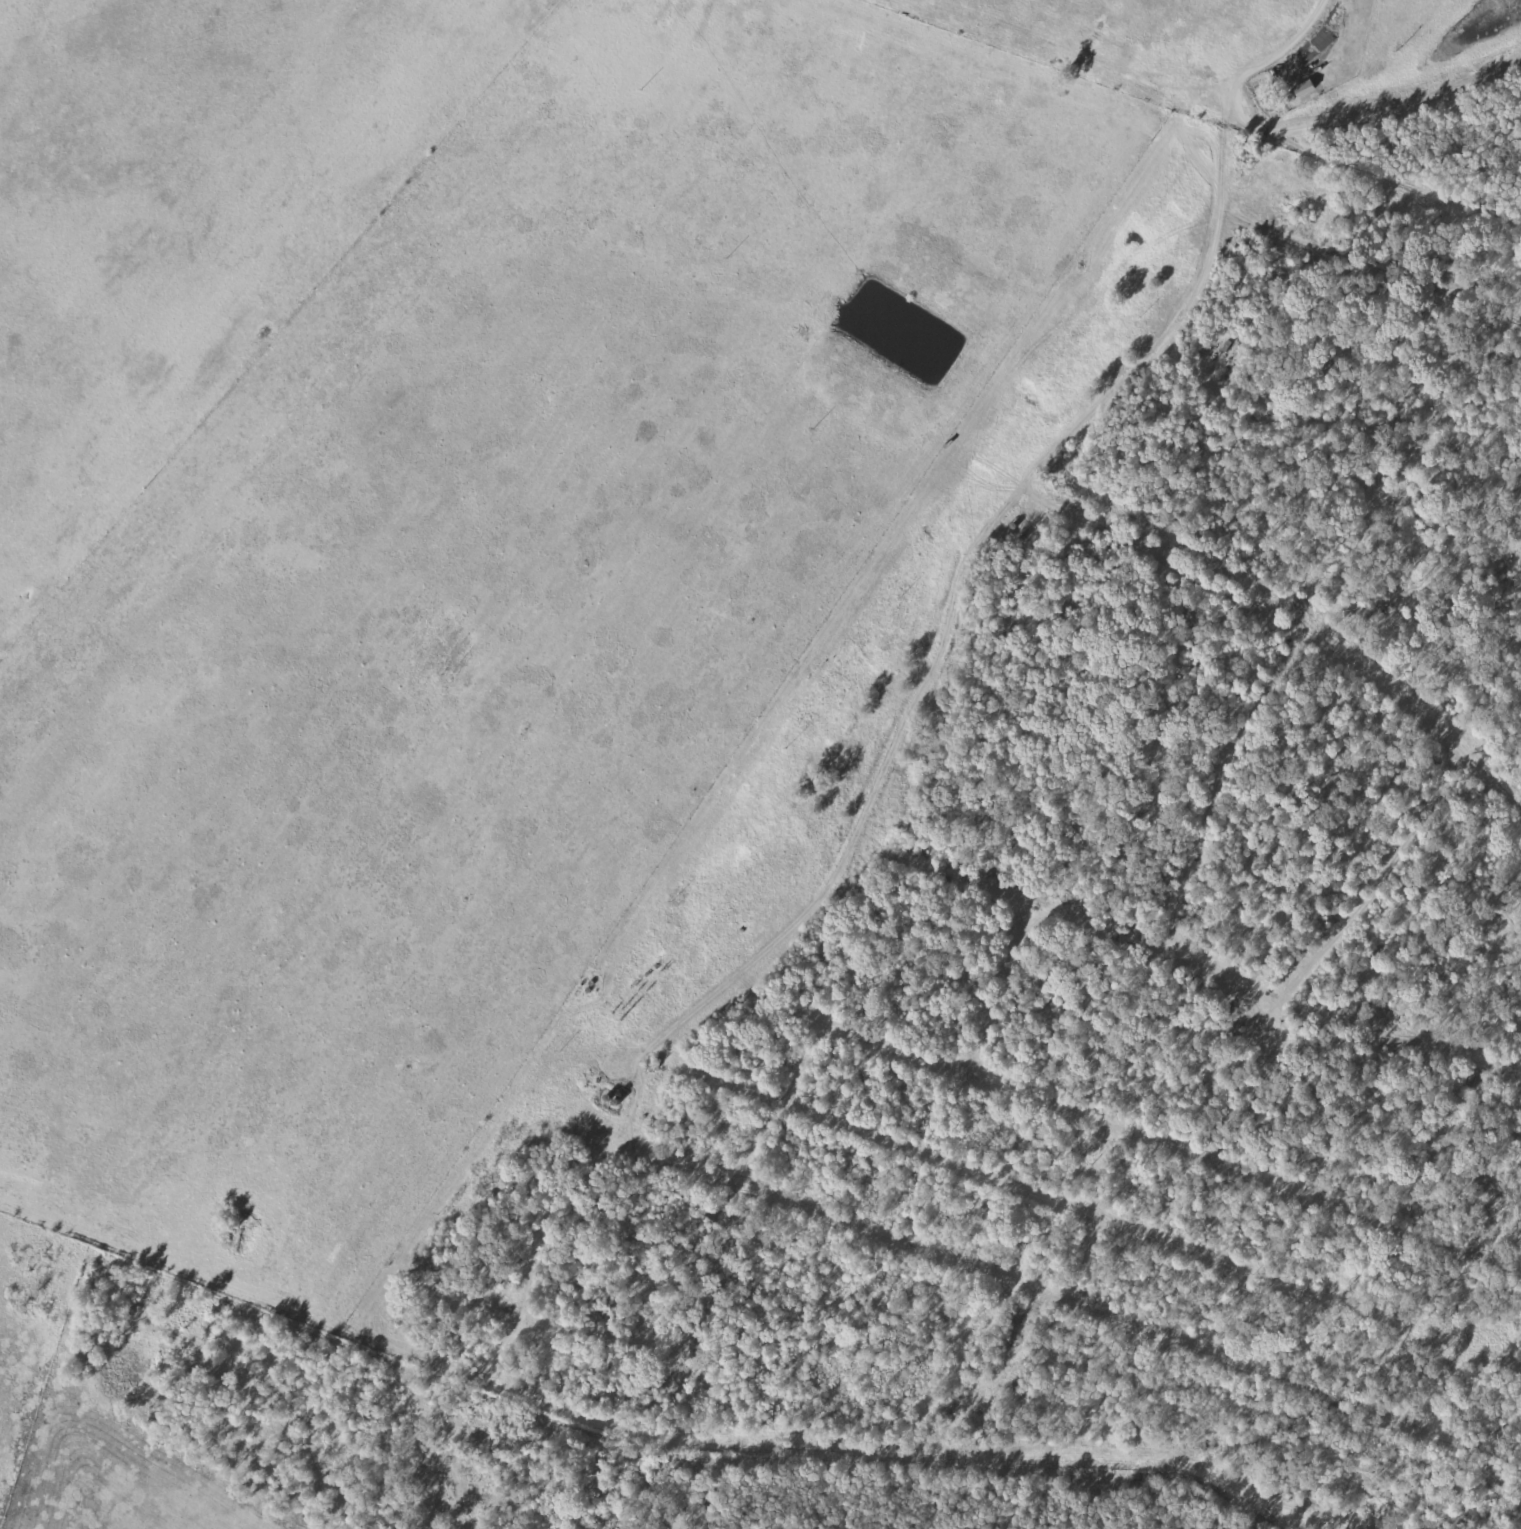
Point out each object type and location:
road: (1303, 119)

